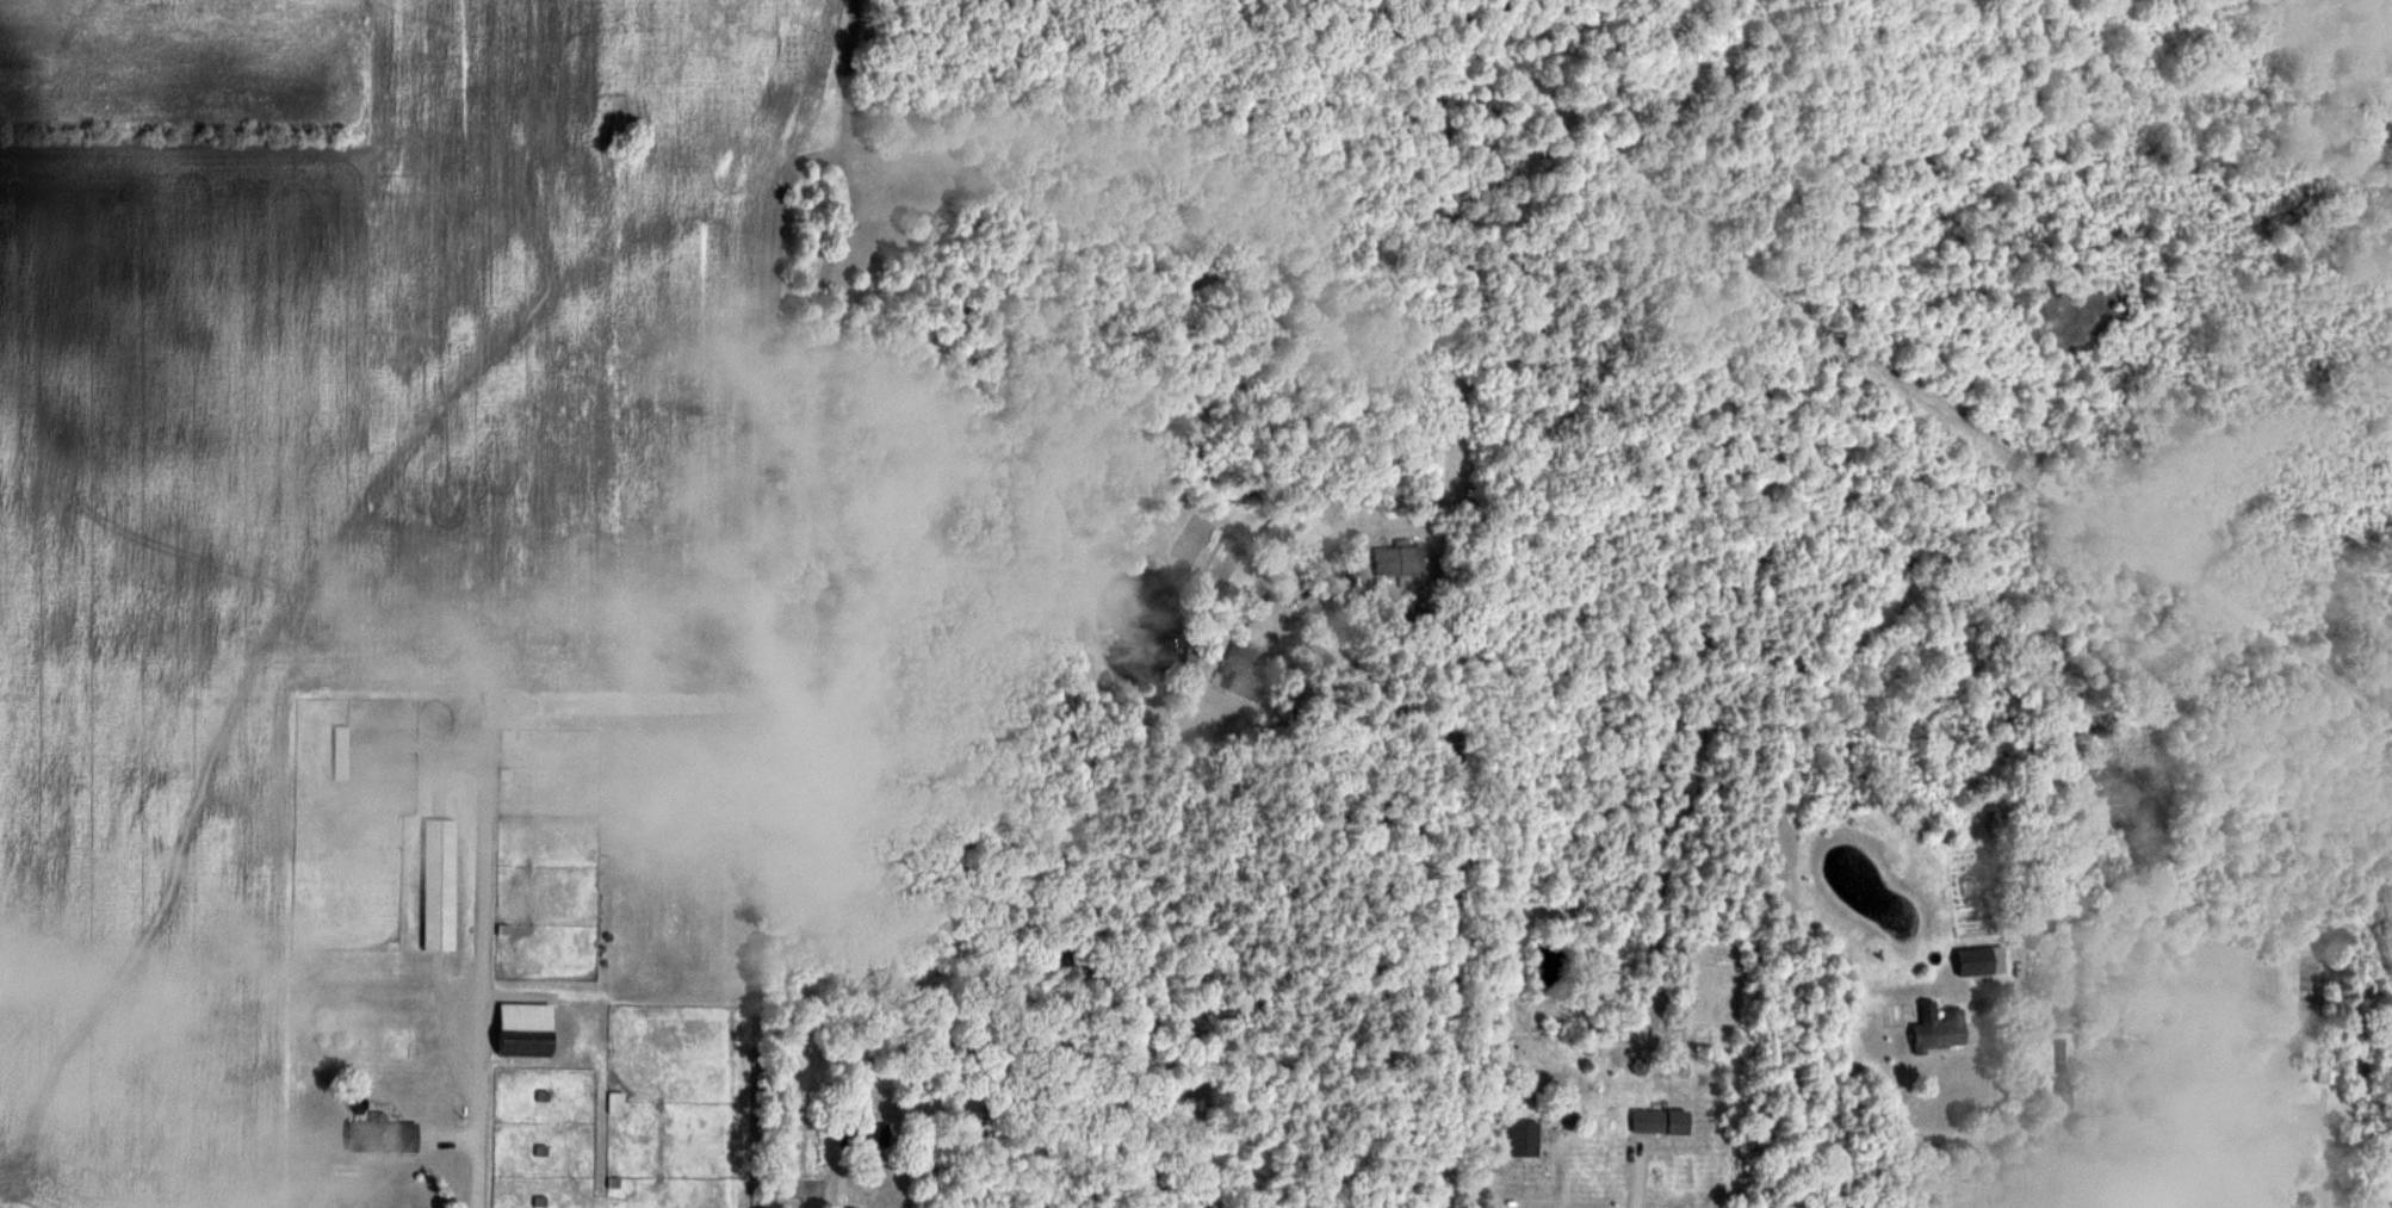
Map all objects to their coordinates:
building: (1399, 560)
building: (1241, 671)
building: (341, 750)
building: (440, 882)
building: (620, 910)
building: (1982, 960)
building: (1939, 1026)
building: (526, 1028)
building: (2329, 1067)
building: (2062, 1091)
building: (616, 1101)
building: (172, 1109)
building: (1648, 1119)
building: (1678, 1120)
building: (2263, 1127)
building: (382, 1133)
building: (1524, 1135)
building: (2094, 1157)

